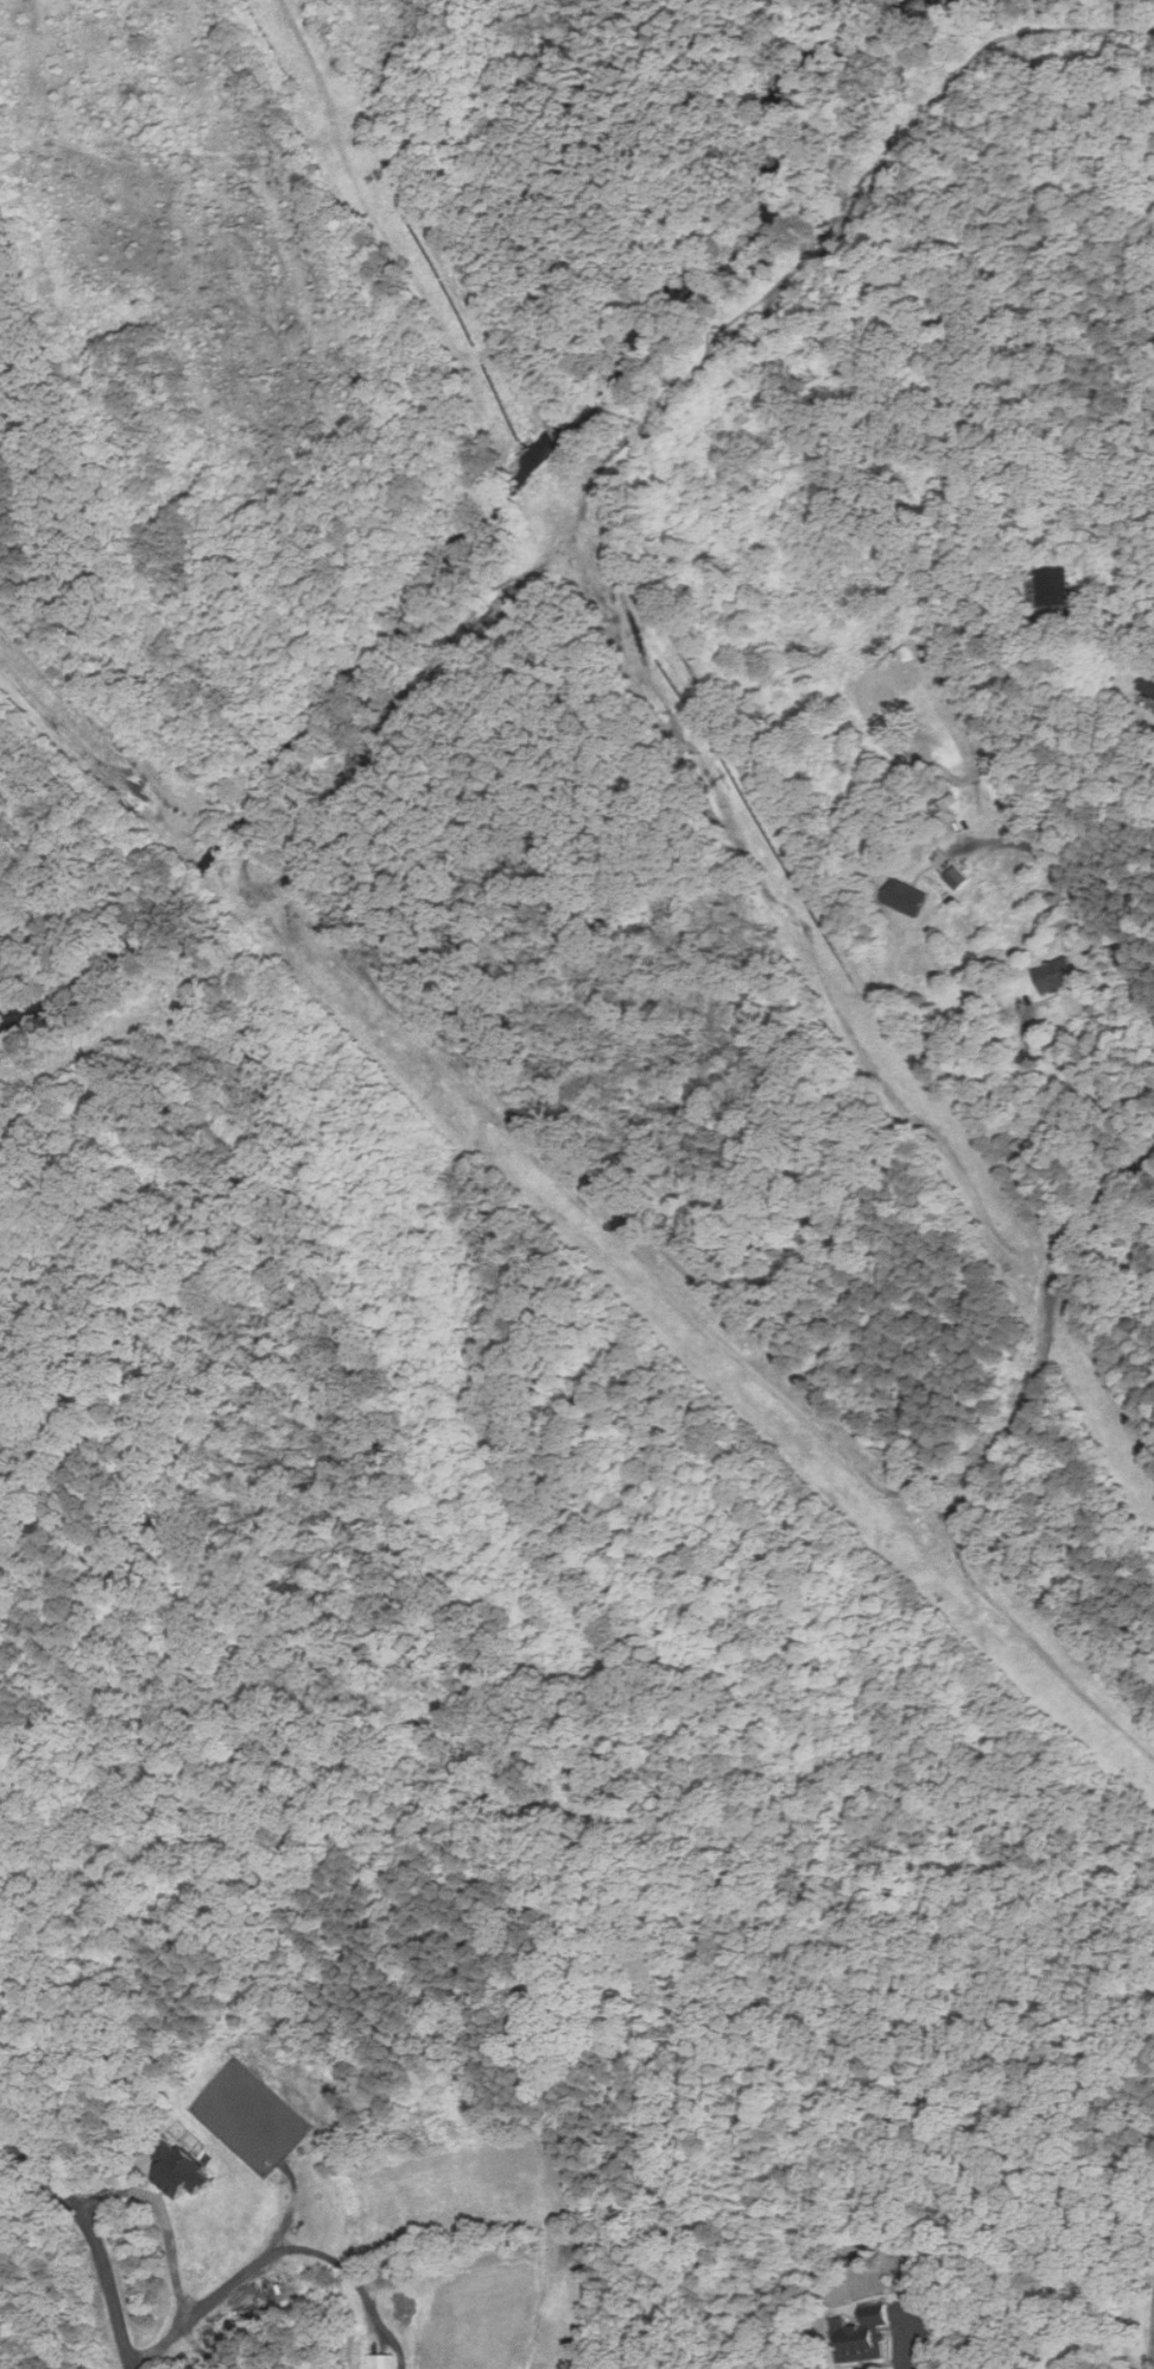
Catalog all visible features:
building: (1057, 585)
building: (1149, 680)
road: (78, 710)
road: (1064, 834)
building: (959, 878)
building: (909, 897)
road: (1079, 906)
building: (1058, 974)
building: (183, 2171)
road: (165, 2217)
road: (91, 2234)
road: (280, 2251)
building: (866, 2335)
building: (385, 2361)
road: (906, 2367)

